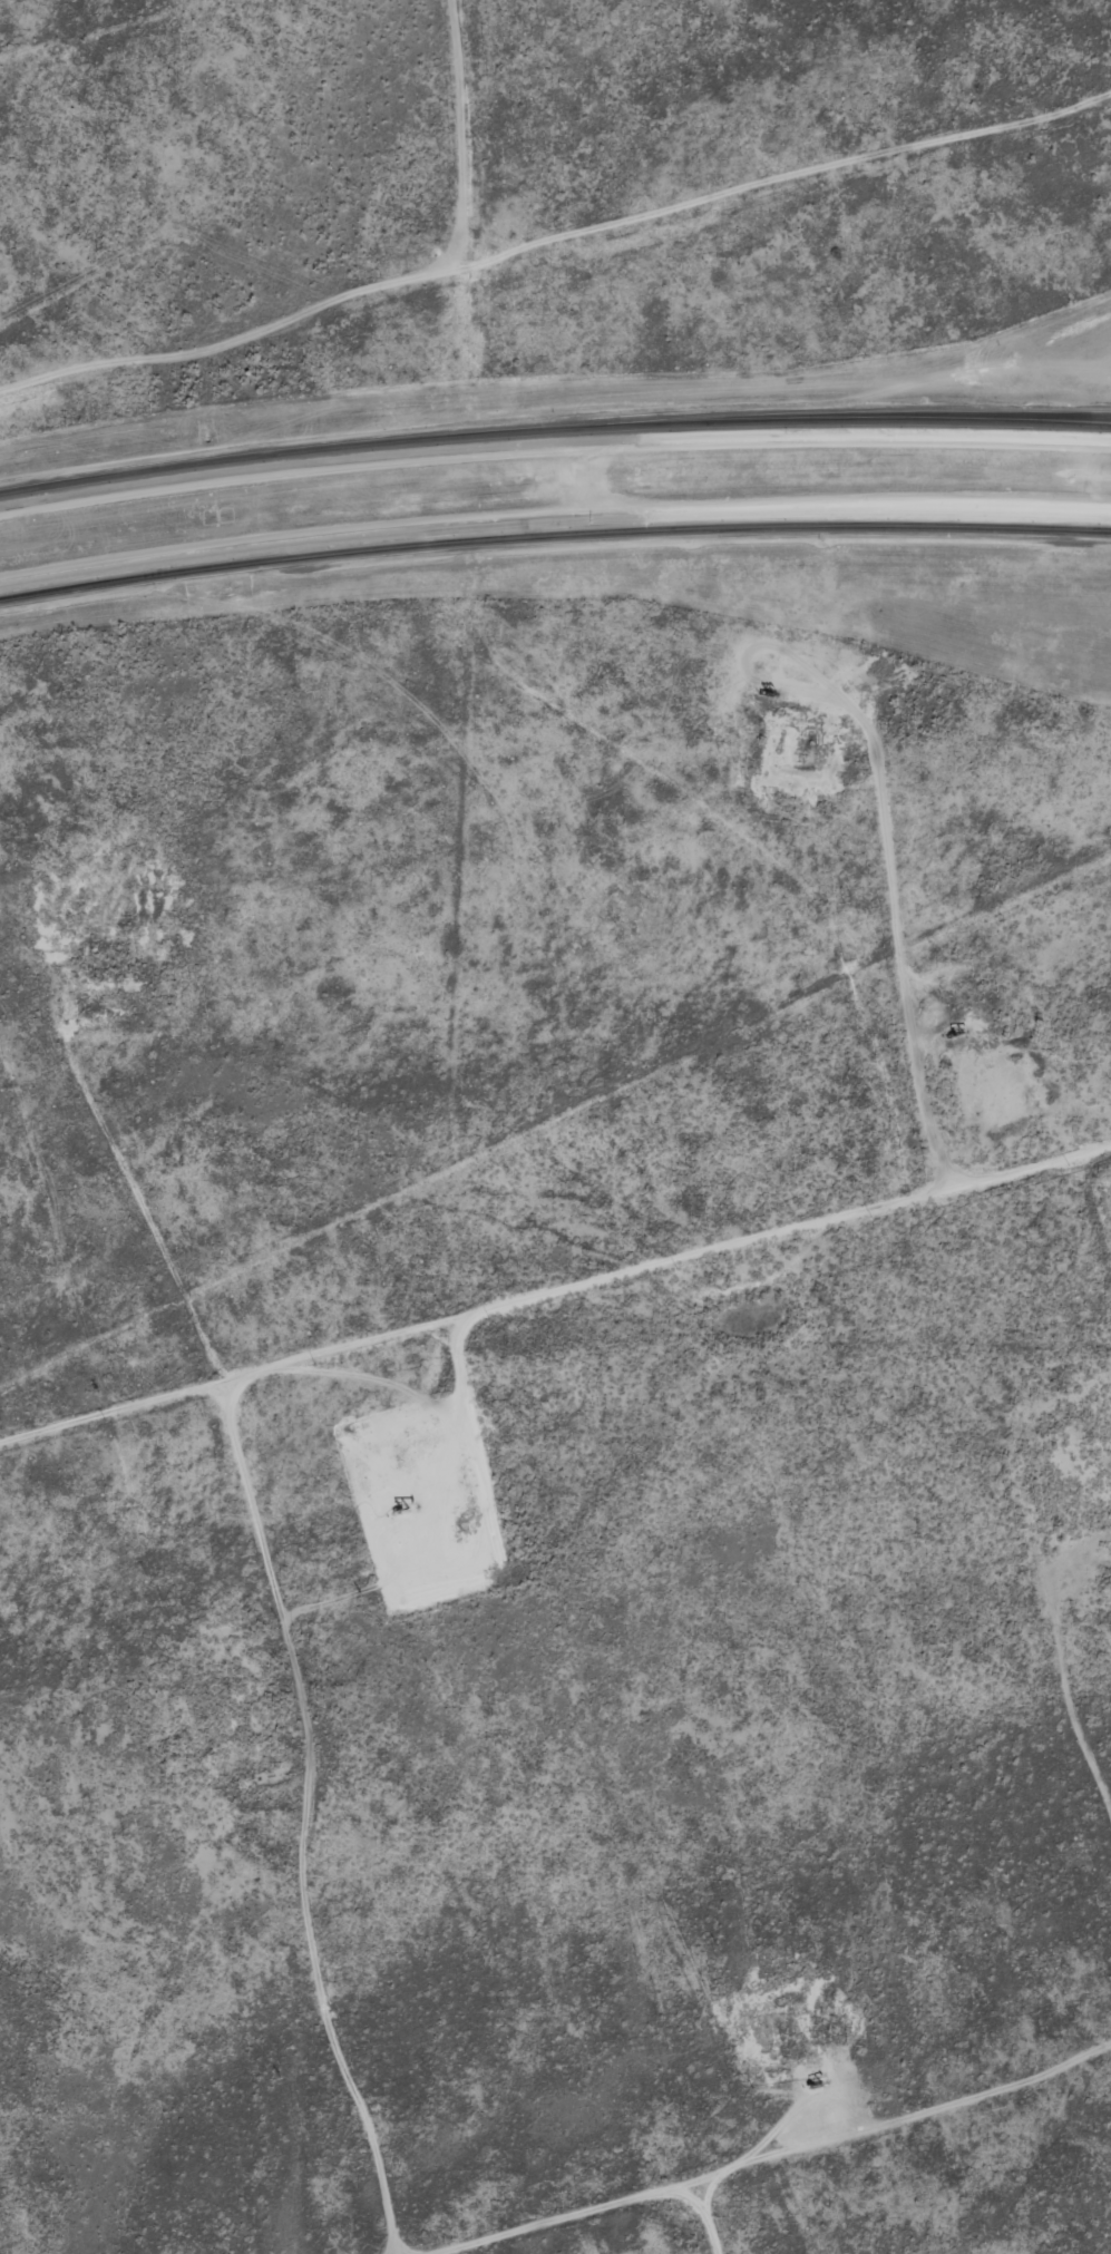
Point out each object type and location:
road: (182, 49)
road: (1084, 427)
road: (553, 441)
road: (553, 528)
road: (555, 1358)

